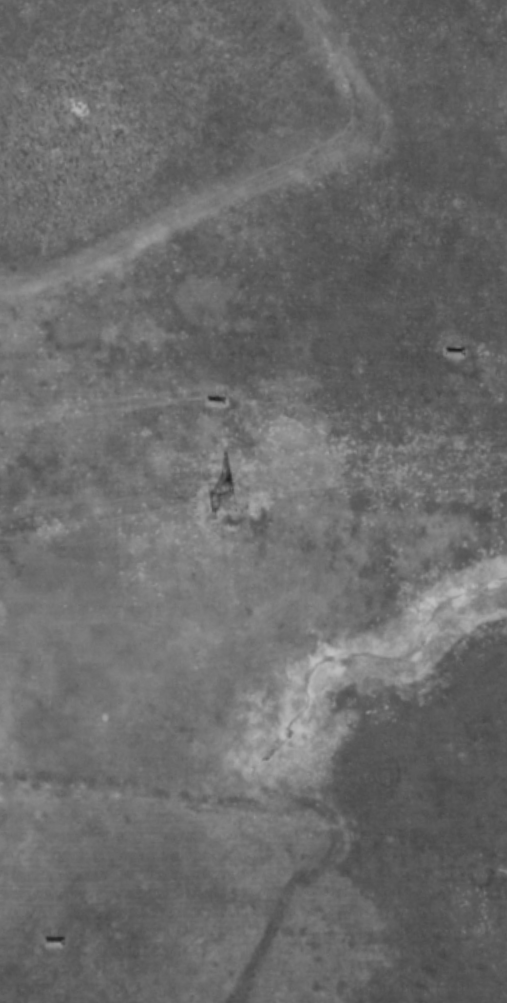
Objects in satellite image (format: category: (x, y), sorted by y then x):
power tower: (225, 503)

